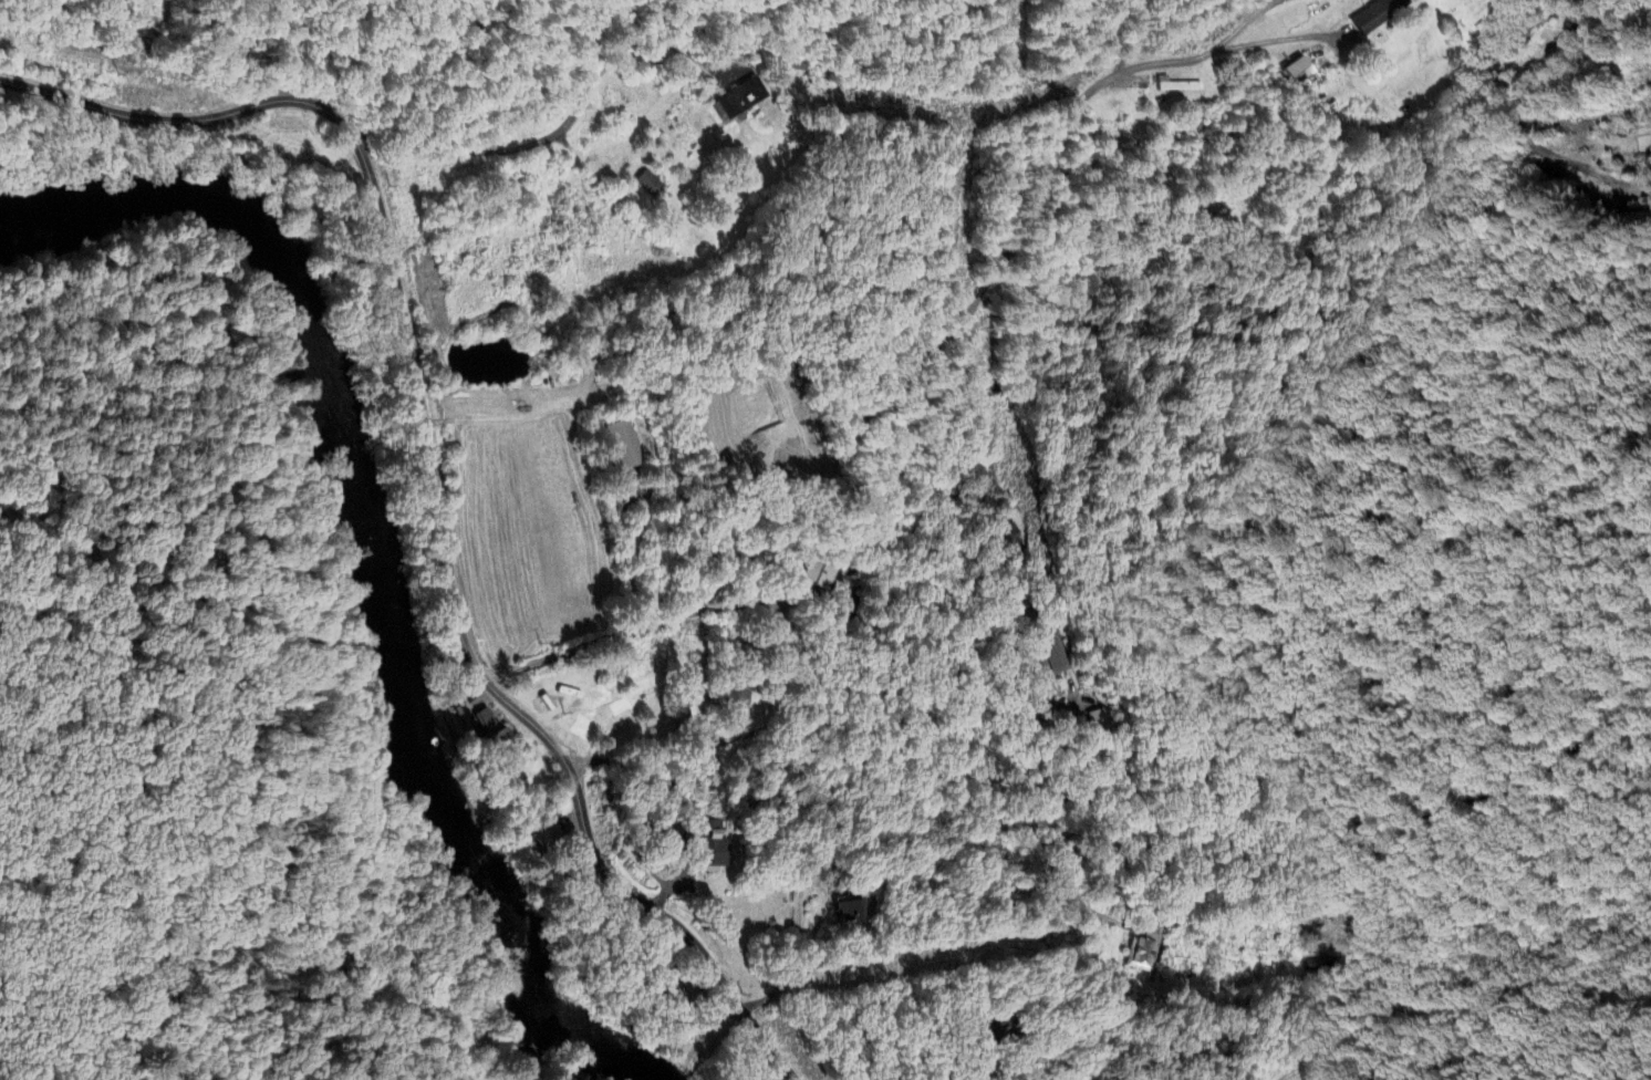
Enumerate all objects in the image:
building: (1378, 14)
building: (1297, 69)
building: (1175, 86)
building: (1143, 90)
building: (744, 96)
road: (555, 133)
building: (647, 184)
building: (1212, 208)
road: (914, 367)
river: (349, 423)
building: (624, 444)
road: (436, 476)
building: (821, 578)
building: (1050, 656)
building: (736, 696)
building: (1100, 721)
building: (485, 726)
road: (866, 758)
road: (1412, 829)
building: (540, 840)
building: (708, 845)
building: (817, 870)
road: (1058, 881)
building: (849, 912)
building: (1143, 951)
river: (541, 1006)
building: (993, 1027)
road: (745, 1055)

